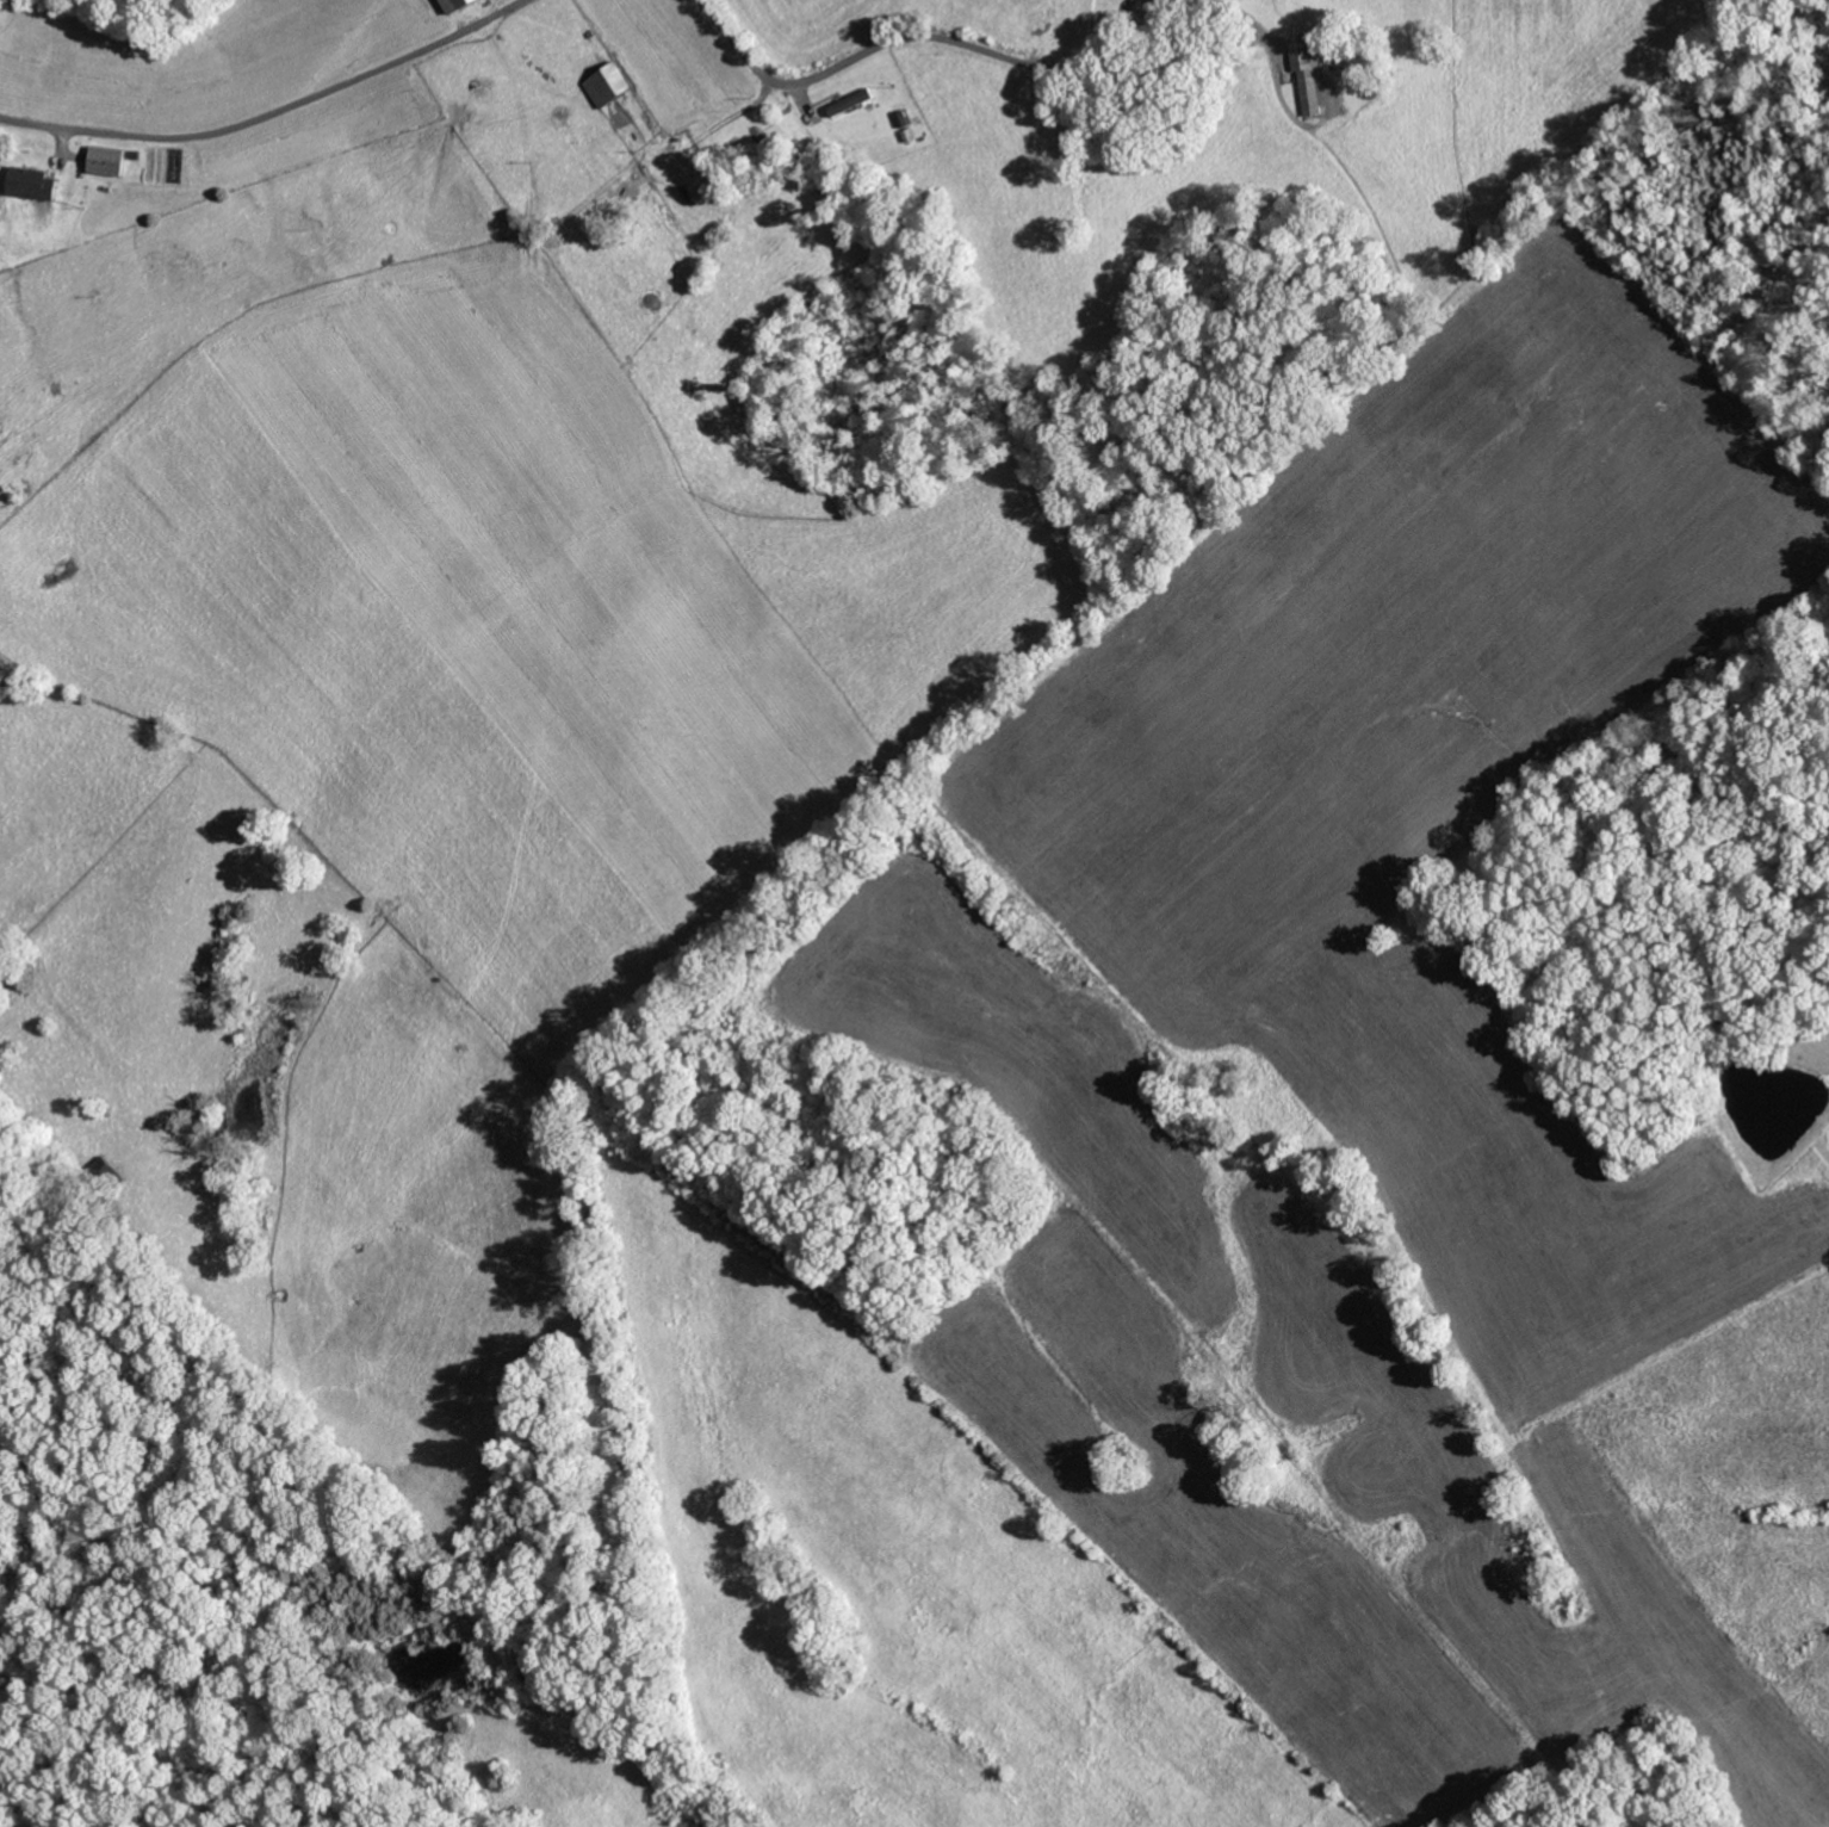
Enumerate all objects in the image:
building: (458, 4)
road: (909, 39)
building: (1312, 72)
building: (609, 85)
road: (268, 114)
building: (111, 160)
building: (35, 182)
road: (1382, 1591)

